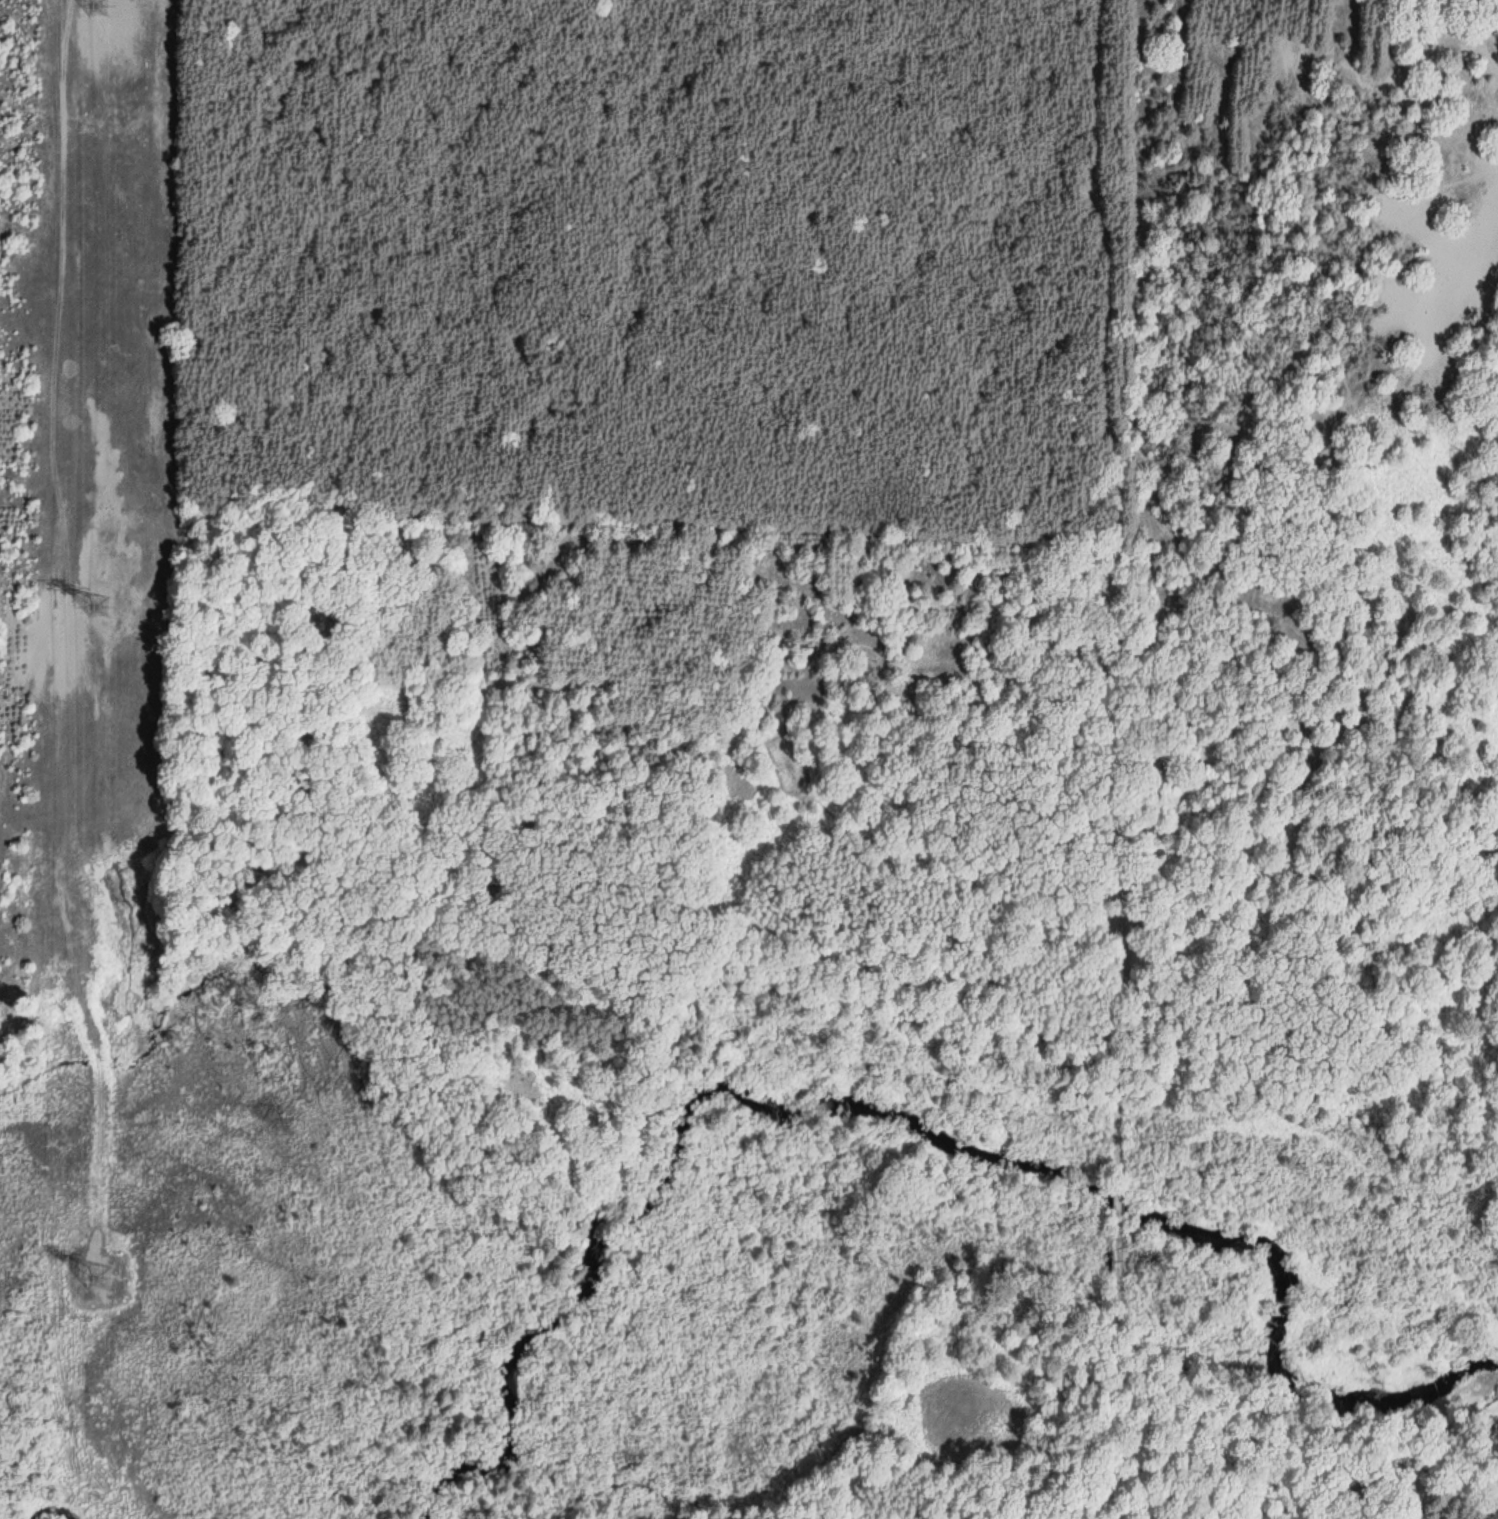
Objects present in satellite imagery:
power tower: (103, 2)
road: (1117, 583)
power tower: (100, 603)
river: (899, 1116)
road: (1120, 1209)
power tower: (104, 1268)
road: (1116, 1385)

